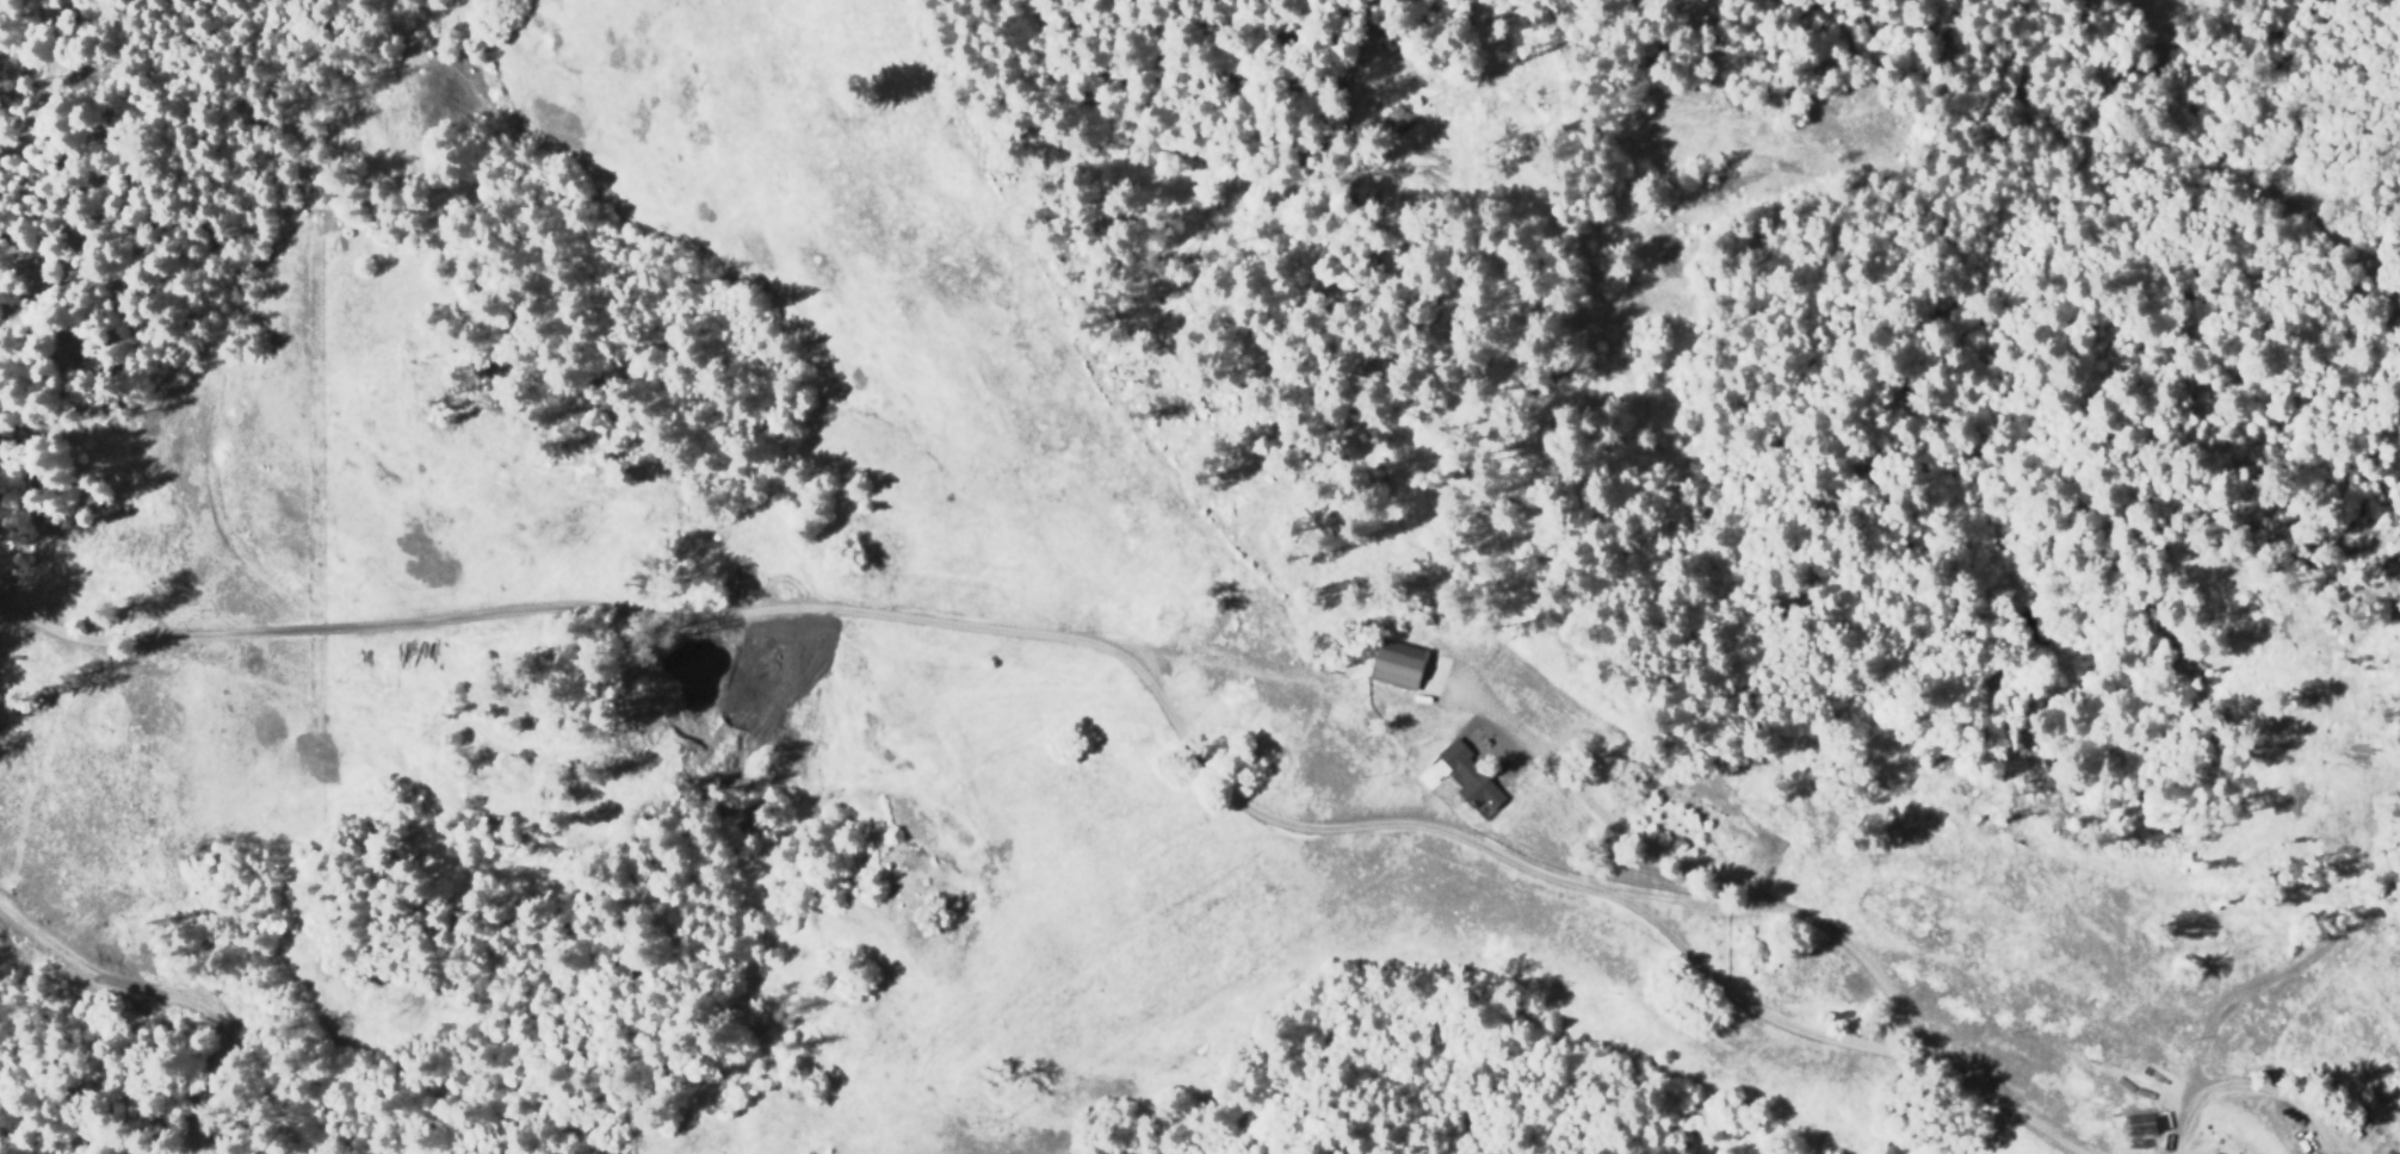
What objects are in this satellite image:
road: (935, 620)
building: (1394, 663)
building: (1474, 783)
road: (1820, 926)
road: (2278, 967)
building: (2396, 1117)

